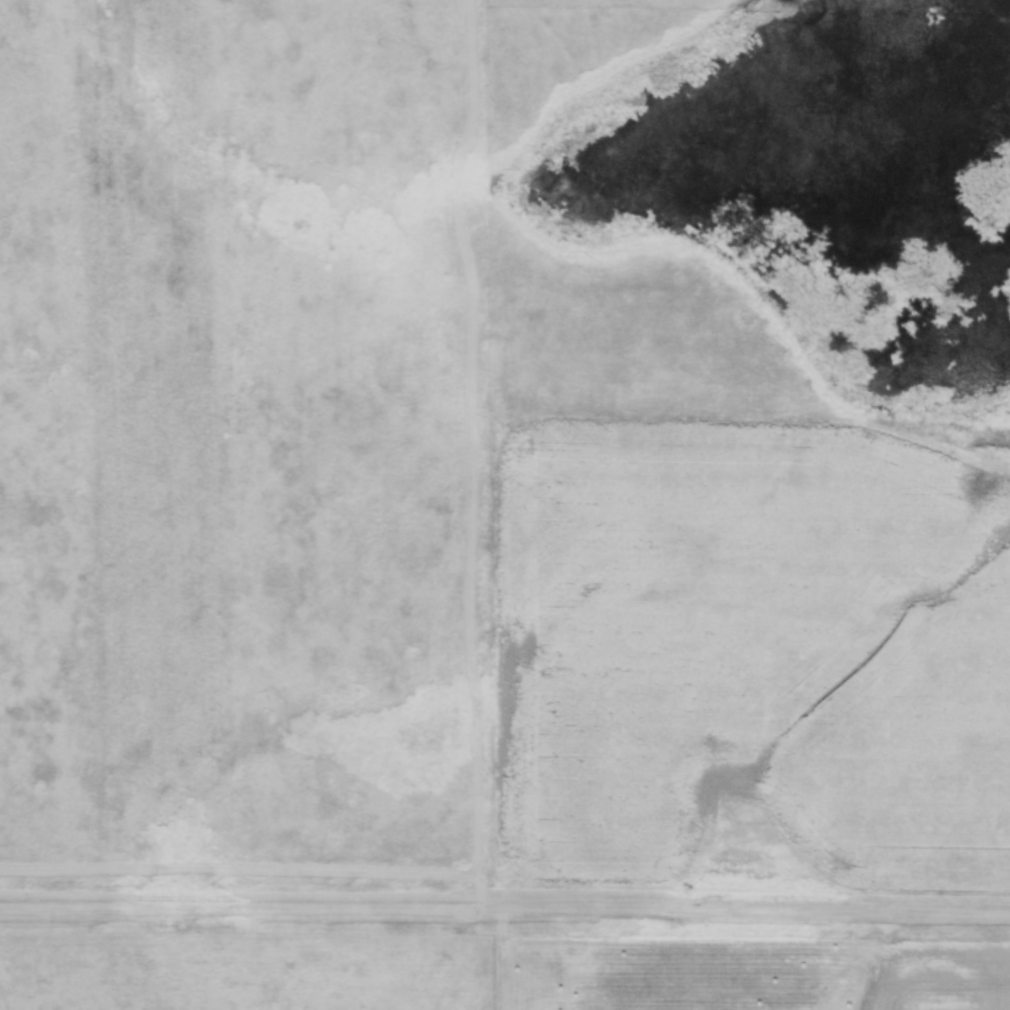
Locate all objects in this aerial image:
road: (505, 901)

